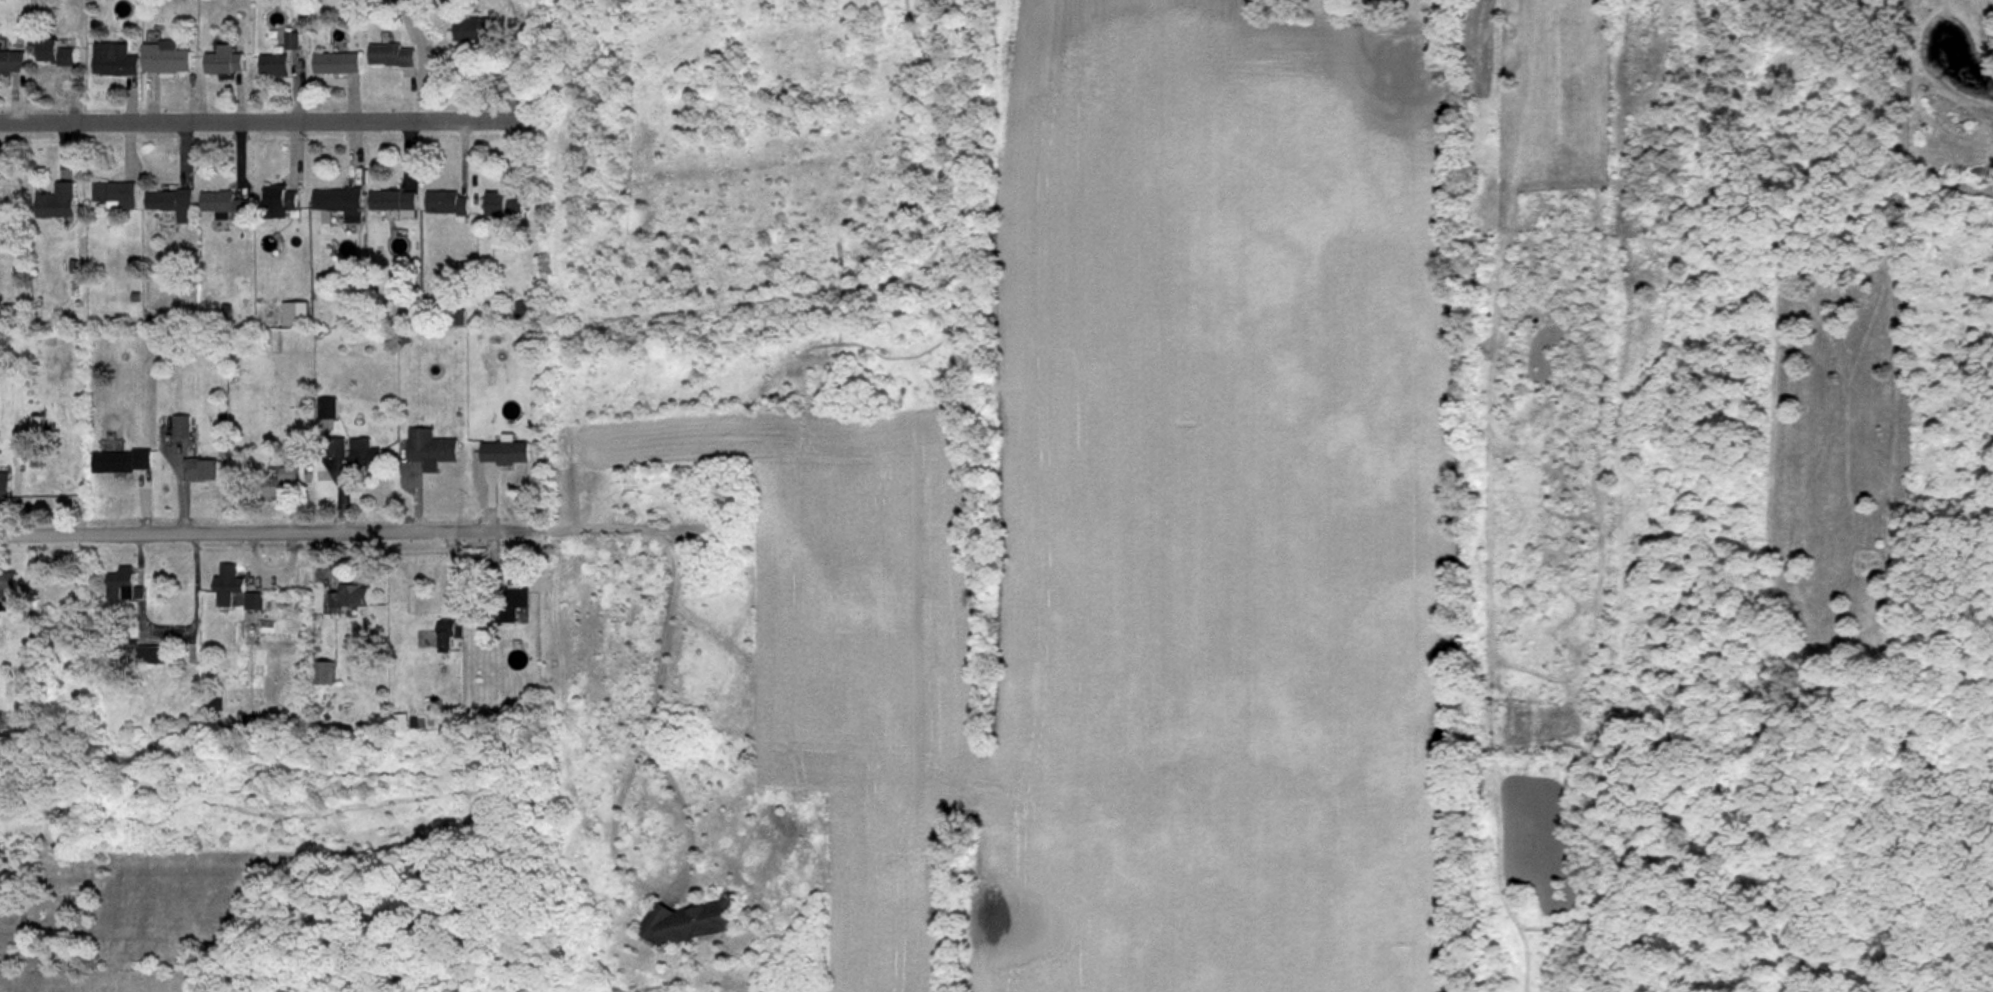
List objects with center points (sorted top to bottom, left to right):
building: (1585, 1)
building: (474, 29)
building: (854, 34)
building: (54, 53)
building: (390, 56)
building: (165, 57)
building: (113, 60)
building: (223, 61)
building: (11, 62)
building: (335, 63)
building: (273, 65)
road: (270, 123)
building: (114, 194)
building: (336, 200)
building: (391, 201)
building: (56, 202)
building: (171, 202)
building: (279, 202)
building: (445, 203)
building: (225, 204)
building: (501, 206)
building: (524, 312)
building: (294, 314)
building: (349, 315)
building: (326, 408)
building: (179, 427)
building: (430, 448)
building: (335, 450)
building: (505, 453)
building: (364, 455)
building: (121, 461)
building: (201, 470)
building: (276, 483)
building: (4, 488)
road: (271, 532)
building: (8, 581)
building: (120, 584)
building: (226, 585)
building: (349, 596)
building: (253, 602)
building: (509, 606)
building: (448, 632)
building: (151, 655)
building: (325, 673)
building: (400, 721)
road: (638, 748)
building: (689, 922)

